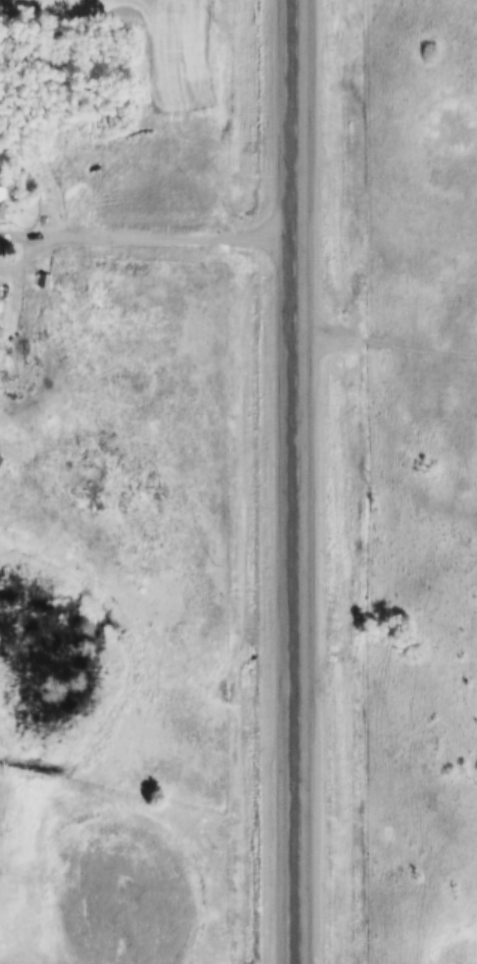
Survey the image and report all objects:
building: (2, 194)
road: (152, 238)
building: (44, 272)
building: (0, 451)
road: (300, 481)

